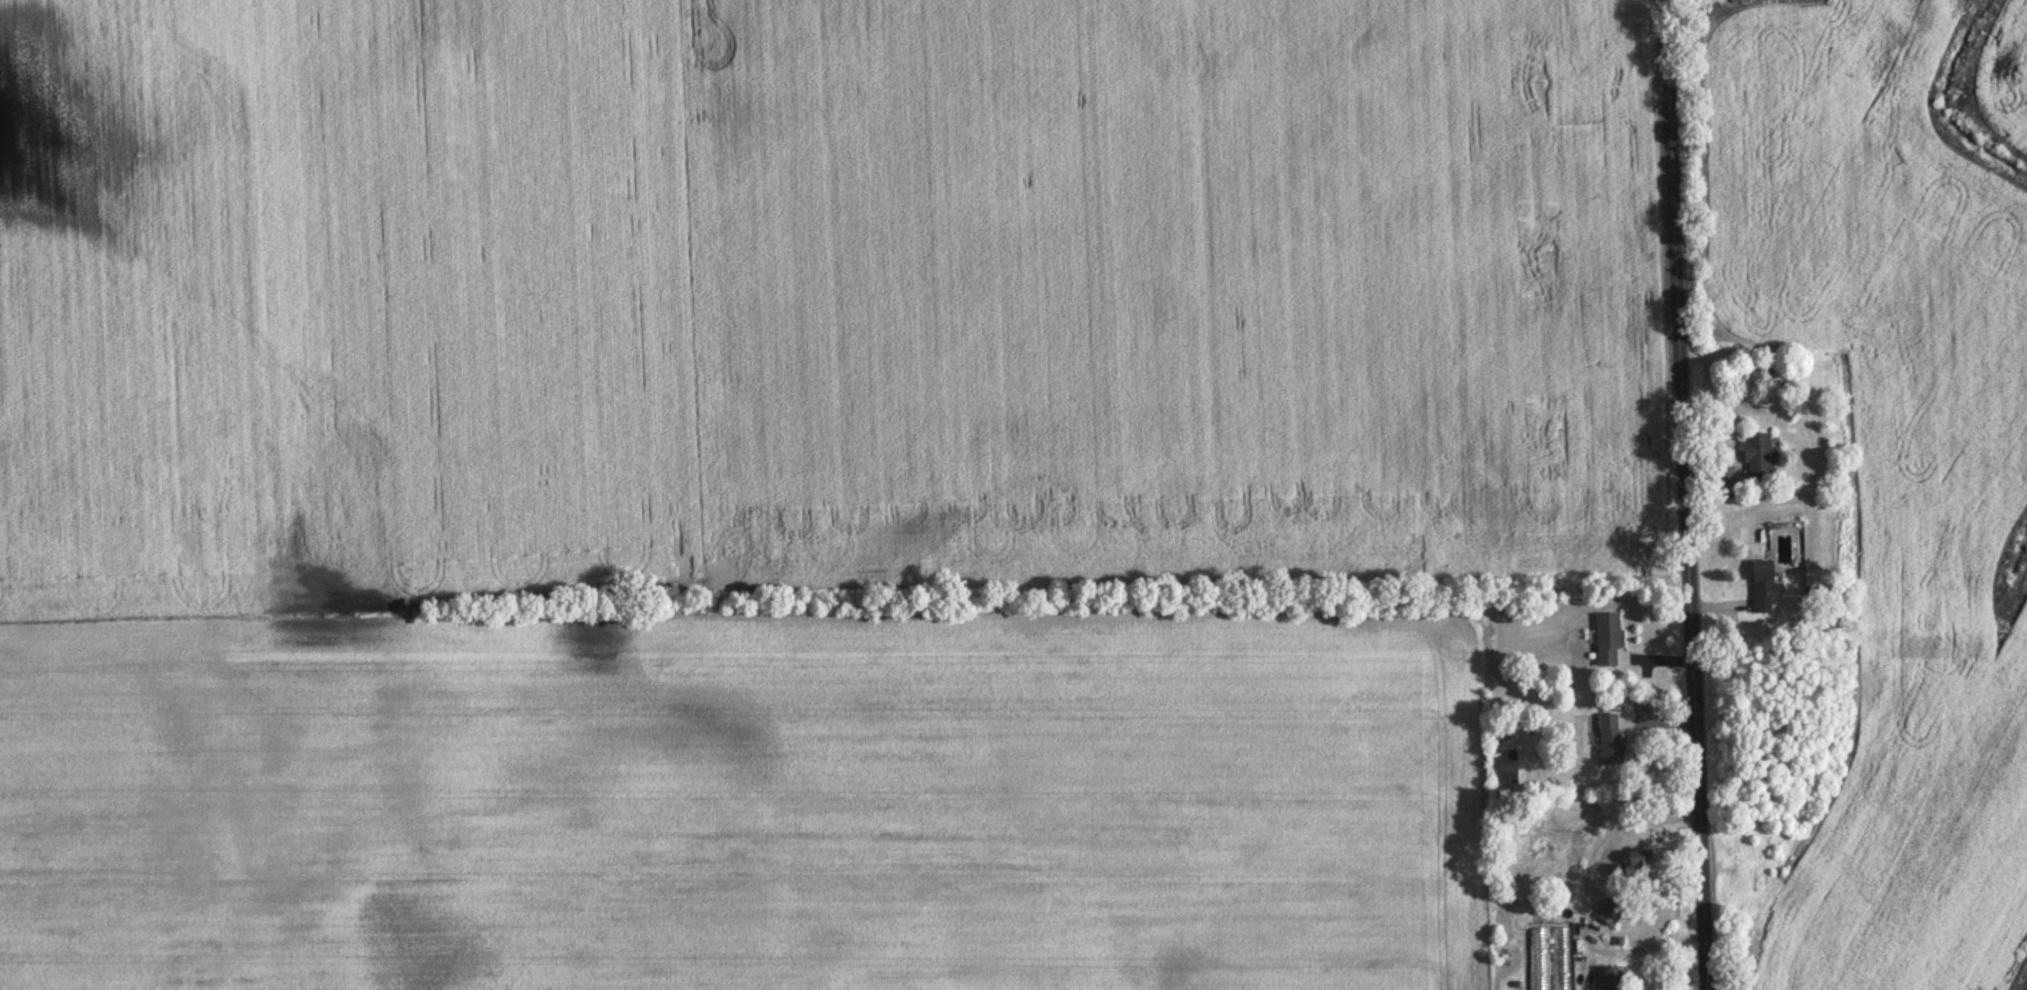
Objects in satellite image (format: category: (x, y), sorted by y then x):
building: (1786, 381)
building: (1762, 457)
road: (1691, 494)
building: (1766, 588)
building: (1610, 640)
building: (1612, 741)
building: (1637, 868)
road: (1583, 903)
building: (1614, 913)
building: (1613, 979)

